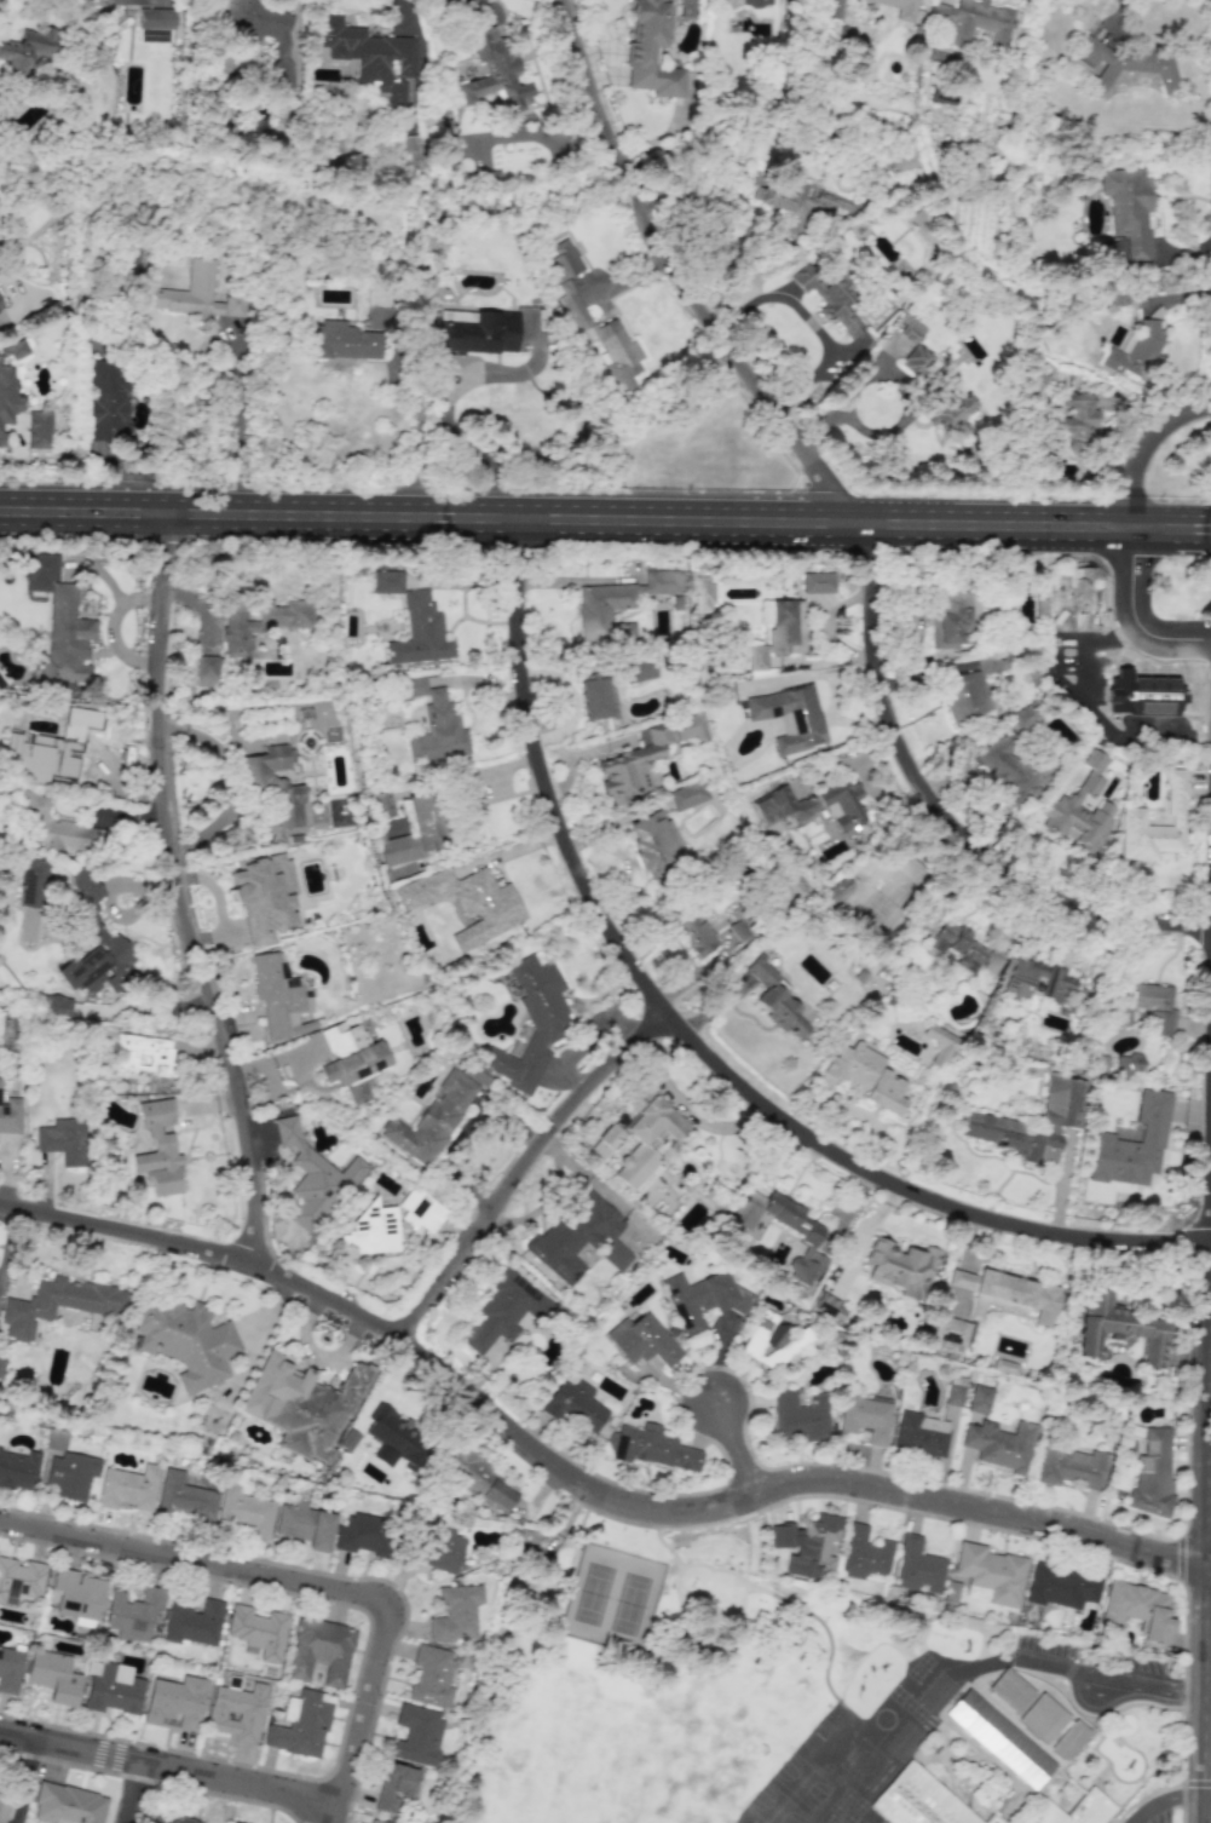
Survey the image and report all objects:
building: (135, 2)
building: (756, 2)
building: (831, 8)
building: (899, 8)
building: (155, 18)
building: (974, 21)
building: (259, 30)
building: (154, 35)
building: (25, 48)
building: (651, 51)
building: (369, 56)
building: (1123, 63)
building: (496, 71)
road: (536, 134)
building: (414, 150)
building: (904, 157)
building: (797, 199)
building: (1129, 213)
road: (682, 283)
building: (195, 294)
building: (829, 297)
building: (572, 303)
building: (1, 304)
road: (811, 322)
building: (910, 329)
building: (479, 333)
building: (344, 341)
building: (1135, 351)
building: (917, 360)
building: (10, 380)
building: (106, 399)
road: (841, 402)
building: (953, 414)
building: (1079, 420)
road: (443, 424)
road: (237, 429)
building: (39, 430)
road: (415, 438)
building: (1, 439)
road: (1143, 447)
road: (605, 519)
building: (387, 581)
building: (703, 582)
building: (818, 582)
building: (870, 582)
building: (1078, 586)
building: (618, 604)
road: (1128, 617)
building: (951, 620)
building: (260, 622)
building: (420, 632)
building: (778, 637)
building: (67, 638)
building: (638, 669)
building: (207, 671)
road: (1068, 684)
building: (970, 690)
building: (594, 696)
building: (790, 717)
building: (1026, 717)
building: (434, 723)
building: (687, 728)
building: (46, 760)
building: (632, 766)
building: (1013, 771)
building: (273, 784)
building: (687, 795)
building: (381, 805)
building: (812, 805)
building: (1080, 809)
road: (942, 811)
building: (1132, 816)
building: (53, 827)
building: (415, 830)
building: (653, 843)
building: (33, 882)
building: (837, 891)
road: (181, 892)
building: (264, 896)
building: (467, 903)
building: (694, 933)
building: (94, 943)
building: (963, 948)
building: (1034, 980)
building: (279, 997)
building: (775, 1000)
building: (56, 1005)
building: (1144, 1006)
building: (532, 1023)
road: (699, 1039)
building: (939, 1045)
building: (142, 1056)
building: (352, 1059)
building: (1136, 1060)
building: (867, 1076)
building: (10, 1115)
building: (1060, 1116)
building: (432, 1118)
building: (646, 1134)
building: (63, 1140)
building: (606, 1140)
building: (1134, 1144)
building: (158, 1150)
road: (527, 1166)
building: (313, 1179)
building: (421, 1210)
building: (373, 1231)
building: (809, 1237)
building: (578, 1238)
building: (901, 1267)
building: (1007, 1295)
building: (703, 1299)
building: (58, 1304)
building: (827, 1307)
building: (503, 1312)
building: (1120, 1328)
building: (950, 1330)
building: (767, 1339)
building: (642, 1340)
building: (186, 1341)
building: (1, 1365)
building: (1004, 1367)
building: (955, 1393)
building: (980, 1399)
building: (573, 1403)
building: (302, 1405)
building: (800, 1416)
building: (212, 1417)
building: (866, 1417)
building: (394, 1434)
building: (921, 1434)
building: (1000, 1444)
road: (746, 1445)
building: (653, 1448)
building: (1072, 1467)
building: (18, 1470)
building: (1153, 1472)
building: (71, 1474)
road: (577, 1479)
building: (481, 1480)
building: (127, 1488)
building: (184, 1497)
building: (243, 1511)
building: (305, 1525)
building: (363, 1534)
building: (807, 1545)
building: (443, 1549)
building: (864, 1554)
building: (917, 1566)
building: (991, 1572)
building: (19, 1580)
road: (299, 1583)
building: (1061, 1587)
building: (77, 1594)
building: (1138, 1611)
building: (133, 1612)
building: (455, 1612)
building: (194, 1622)
building: (258, 1631)
building: (321, 1651)
building: (10, 1669)
road: (1113, 1669)
park: (651, 1673)
building: (53, 1677)
building: (431, 1677)
building: (111, 1689)
building: (1010, 1690)
road: (1101, 1695)
building: (175, 1701)
building: (236, 1710)
building: (1043, 1718)
building: (299, 1725)
building: (416, 1735)
building: (999, 1738)
building: (1068, 1739)
road: (168, 1770)
road: (24, 1782)
building: (394, 1785)
road: (131, 1793)
building: (918, 1800)
road: (1167, 1800)
building: (67, 1805)
building: (2, 1807)
building: (1073, 1810)
road: (336, 1813)
building: (172, 1819)
building: (233, 1822)
building: (375, 1822)

